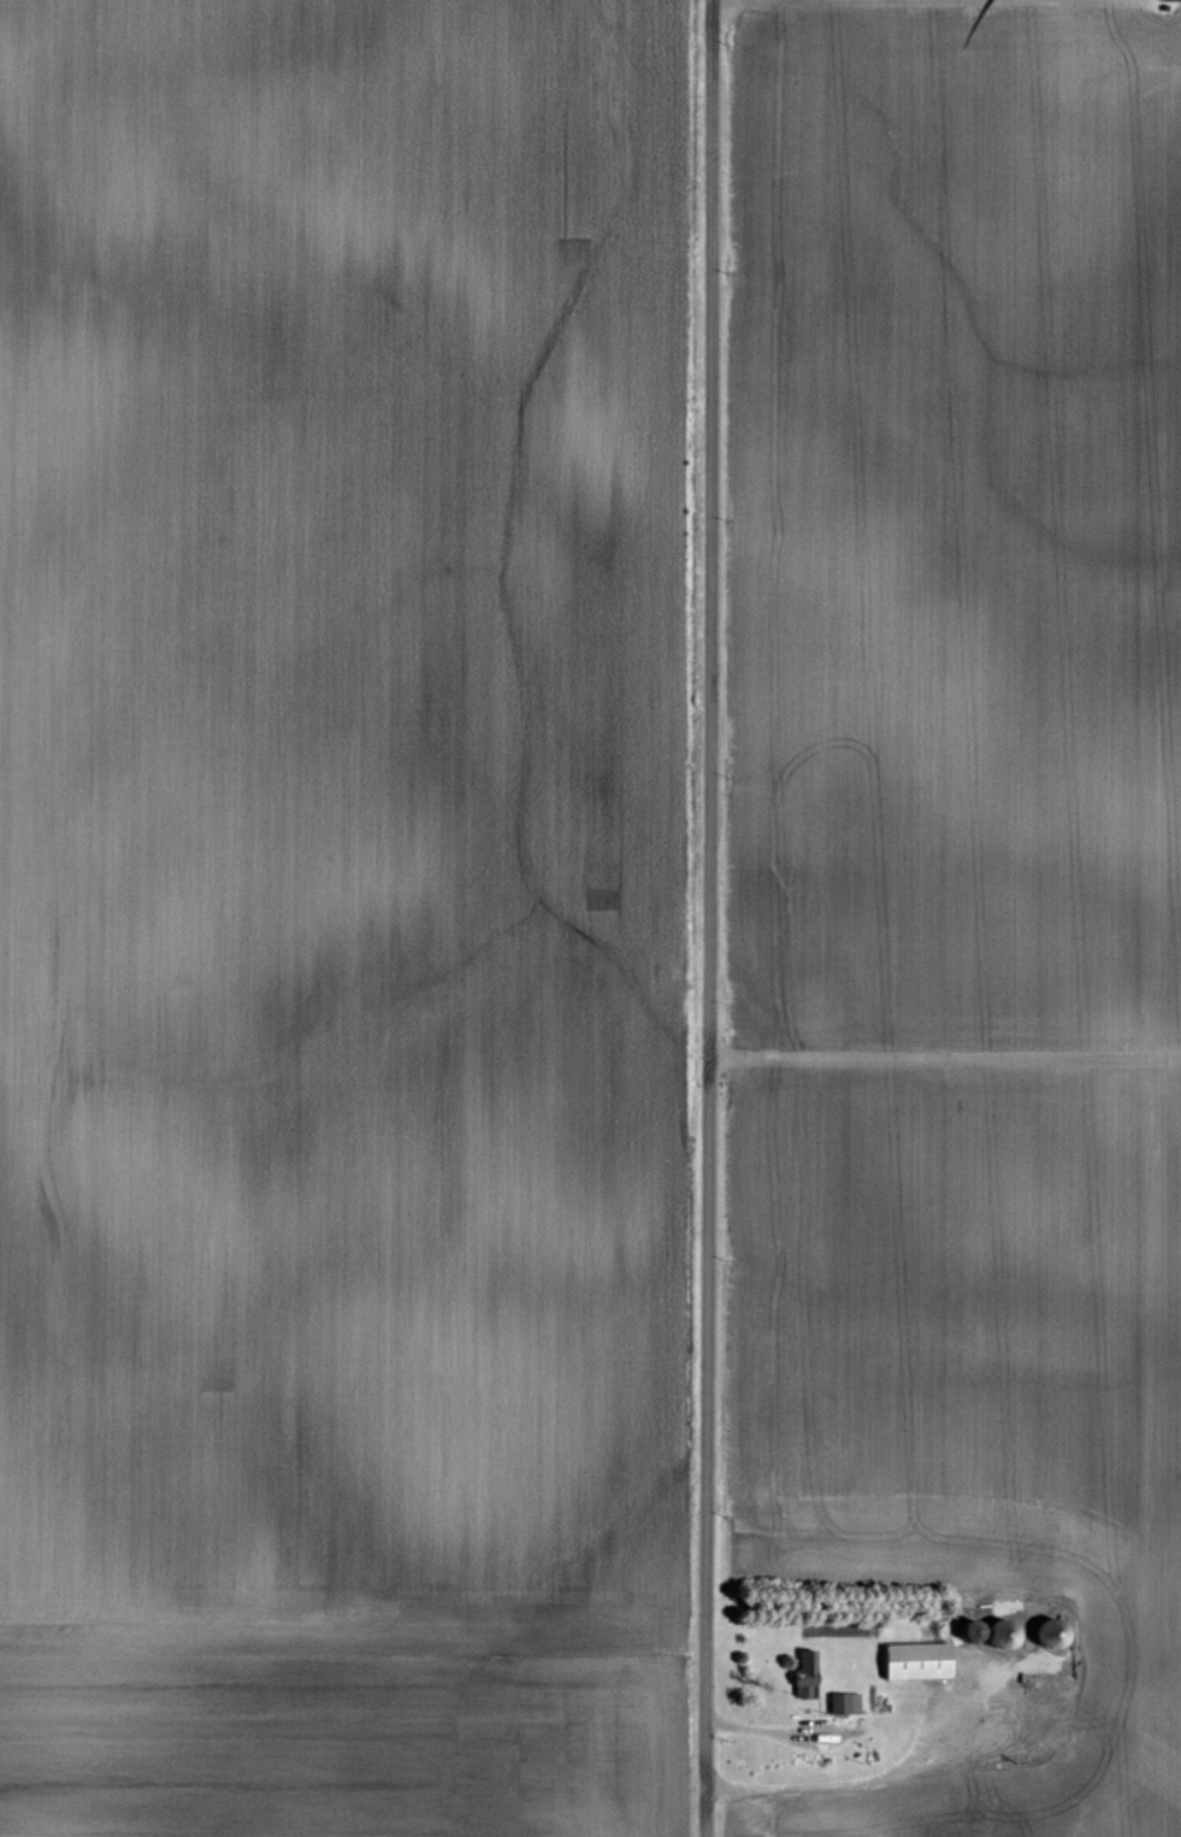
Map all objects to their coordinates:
road: (785, 0)
road: (711, 918)
road: (946, 1055)
building: (926, 1661)
road: (767, 1727)
road: (852, 1782)

